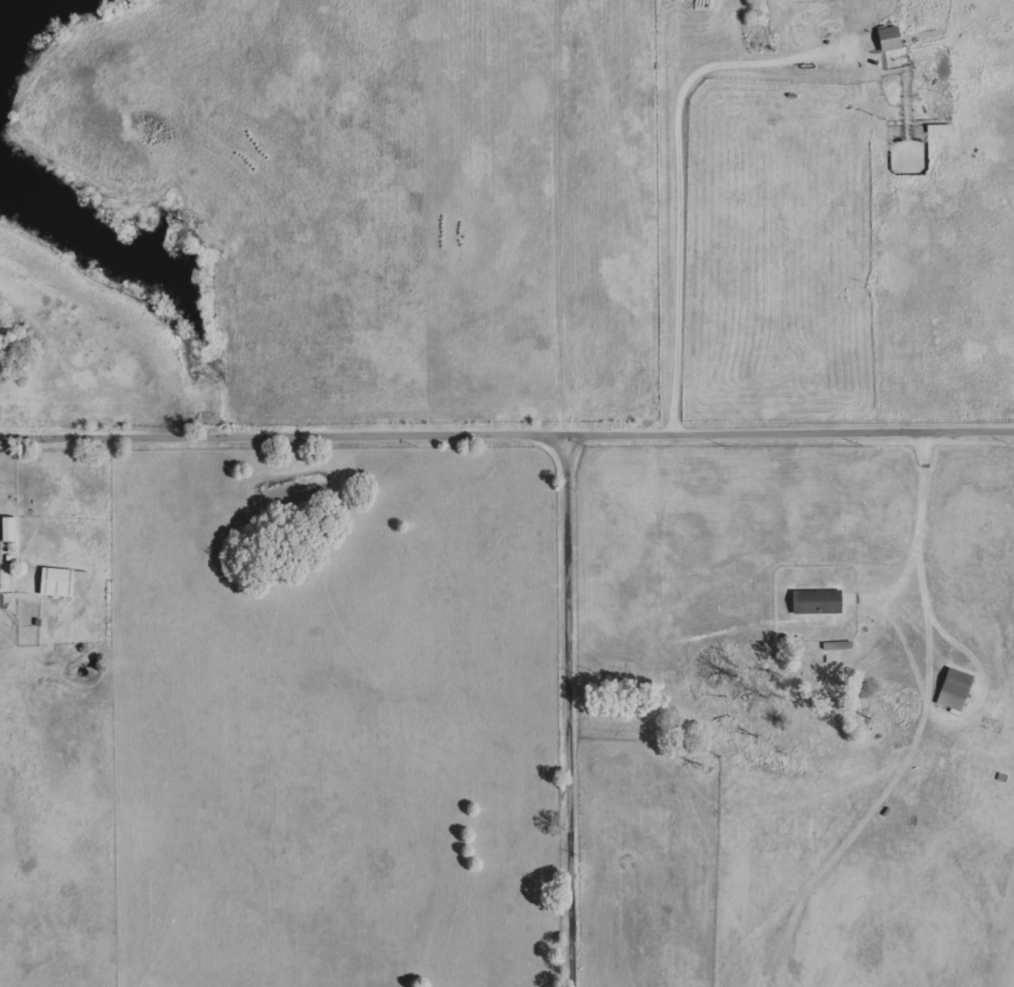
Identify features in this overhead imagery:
building: (894, 38)
building: (943, 128)
road: (507, 435)
building: (13, 529)
building: (64, 582)
building: (821, 602)
road: (570, 710)

